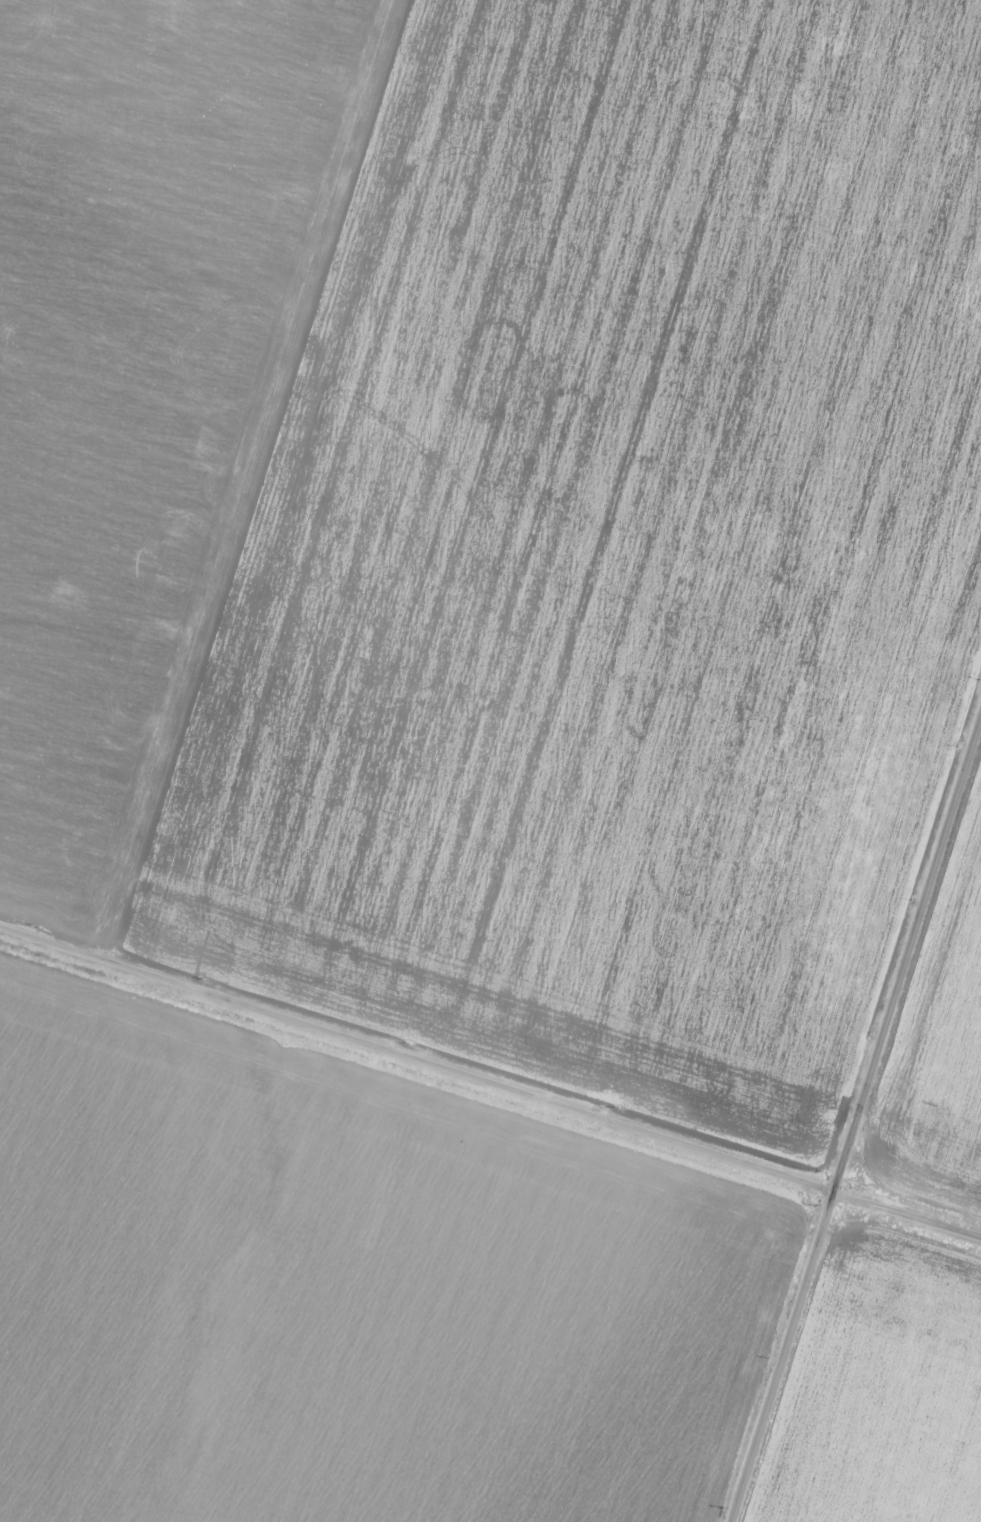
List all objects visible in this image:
crop: (947, 1065)
road: (490, 1071)
road: (863, 1147)

